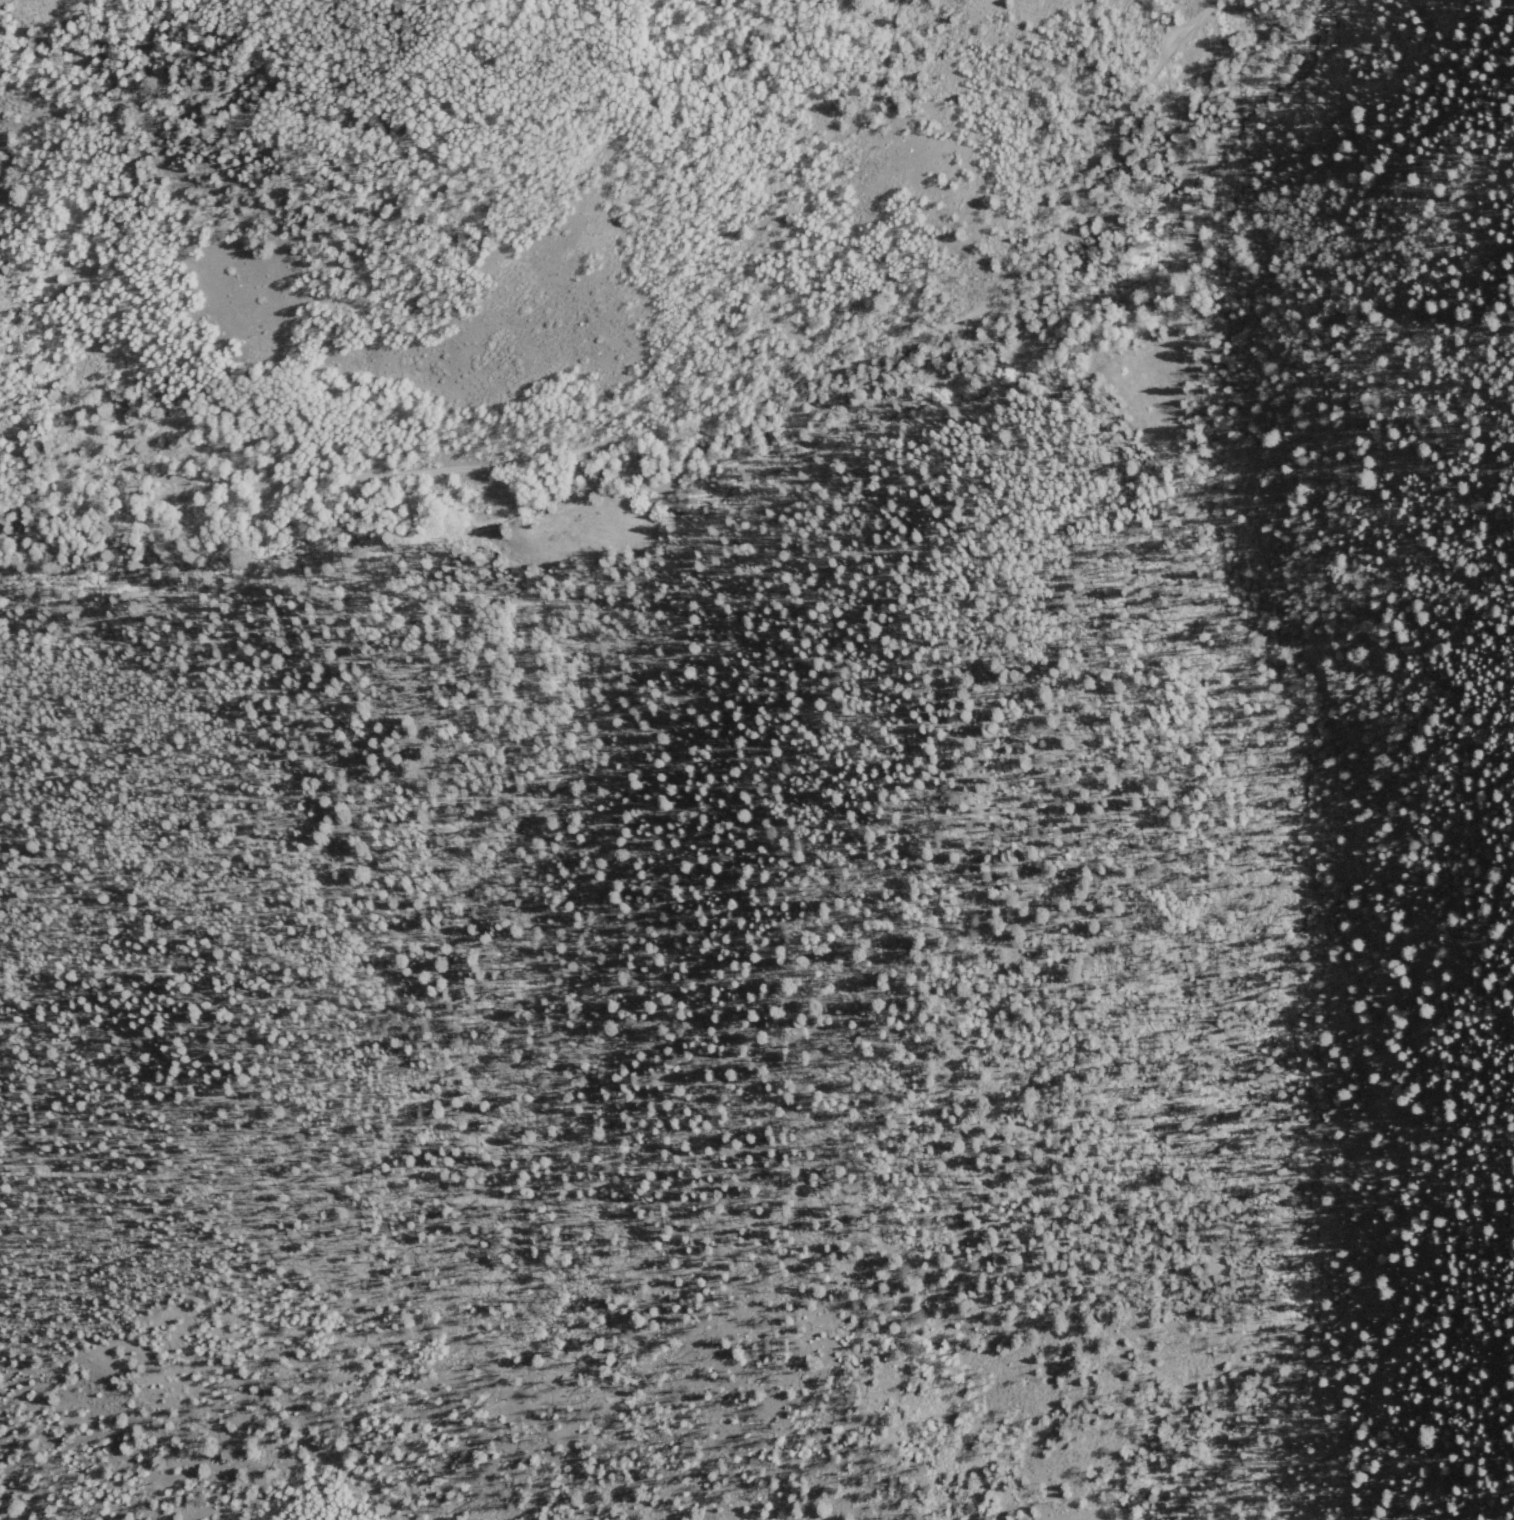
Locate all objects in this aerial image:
road: (807, 383)
road: (111, 503)
road: (114, 537)

